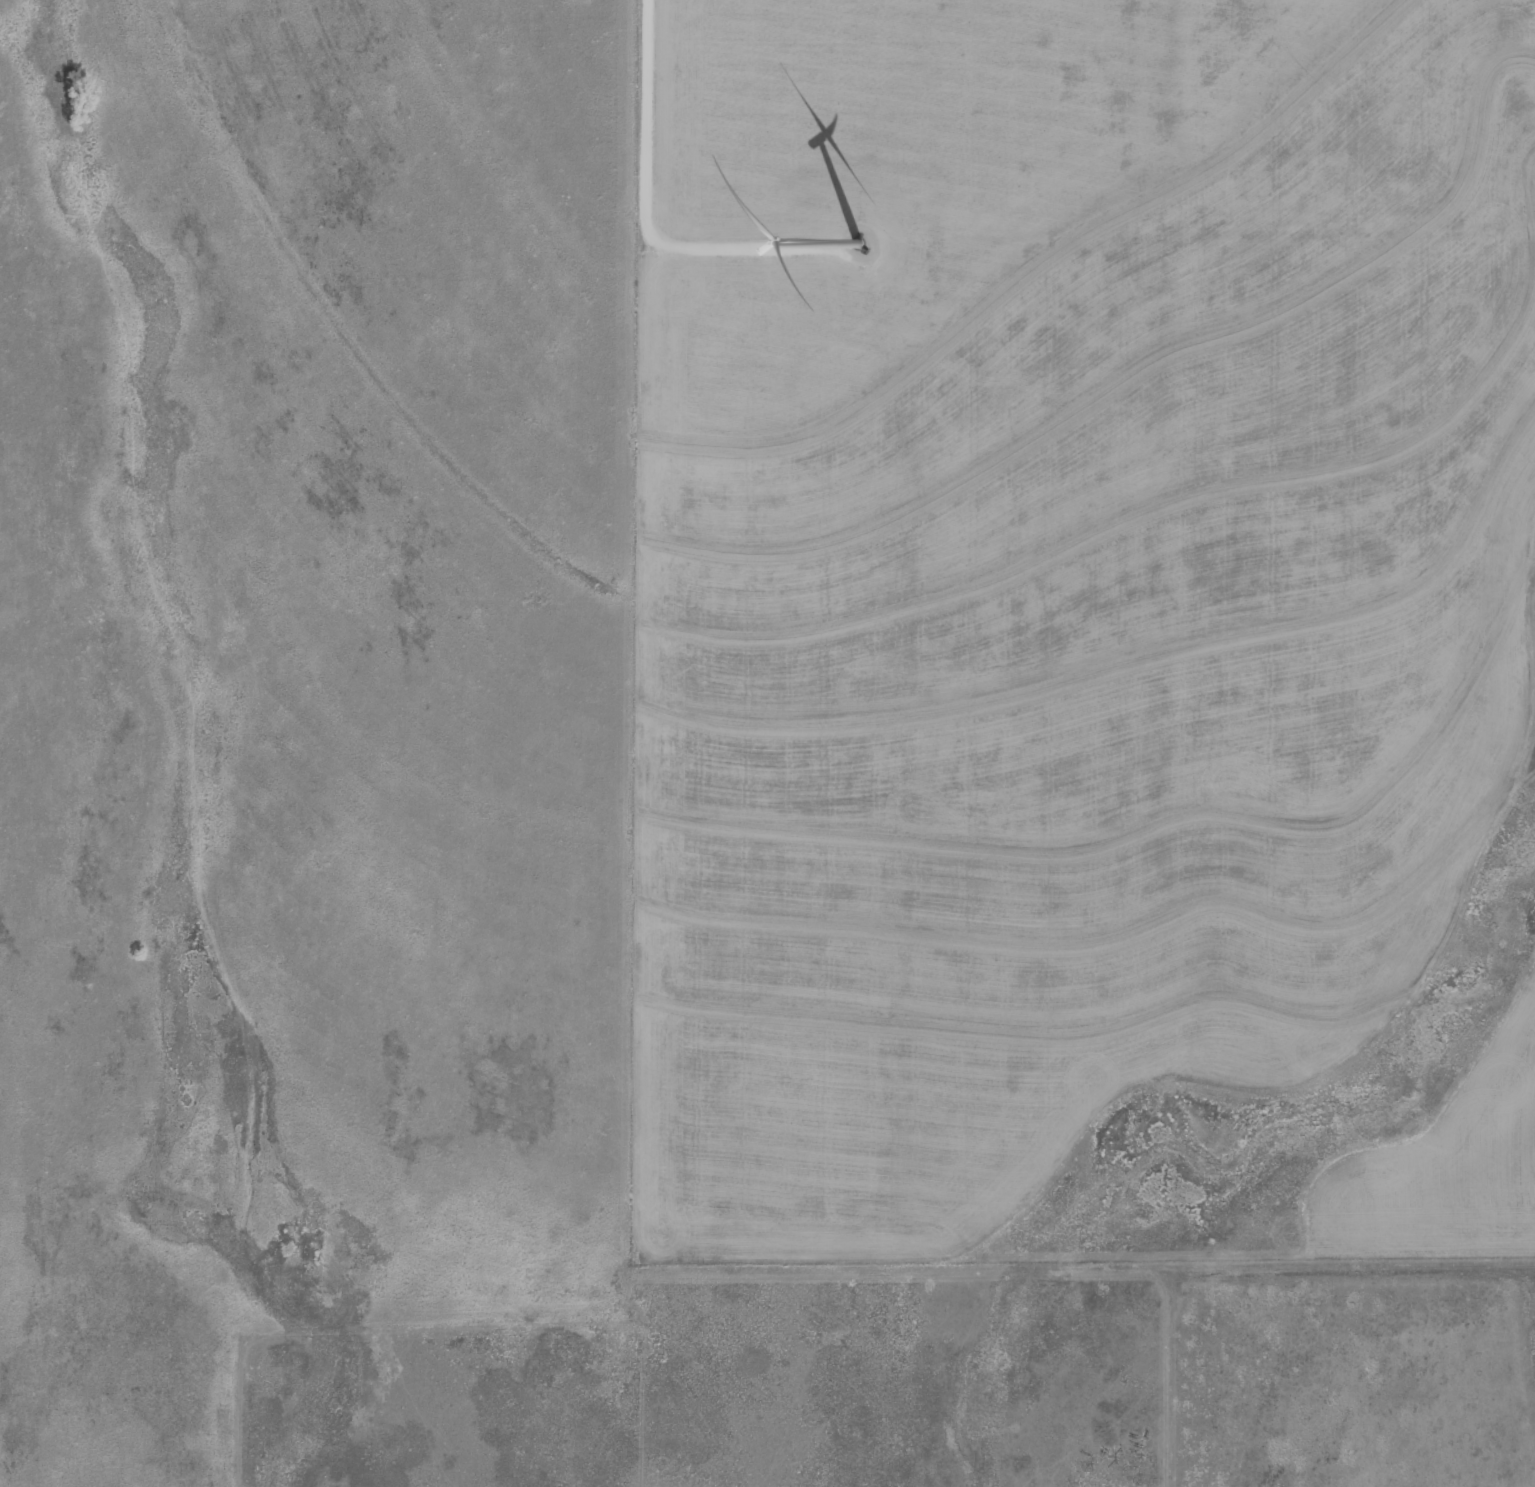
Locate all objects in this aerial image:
wind turbine: (859, 243)

